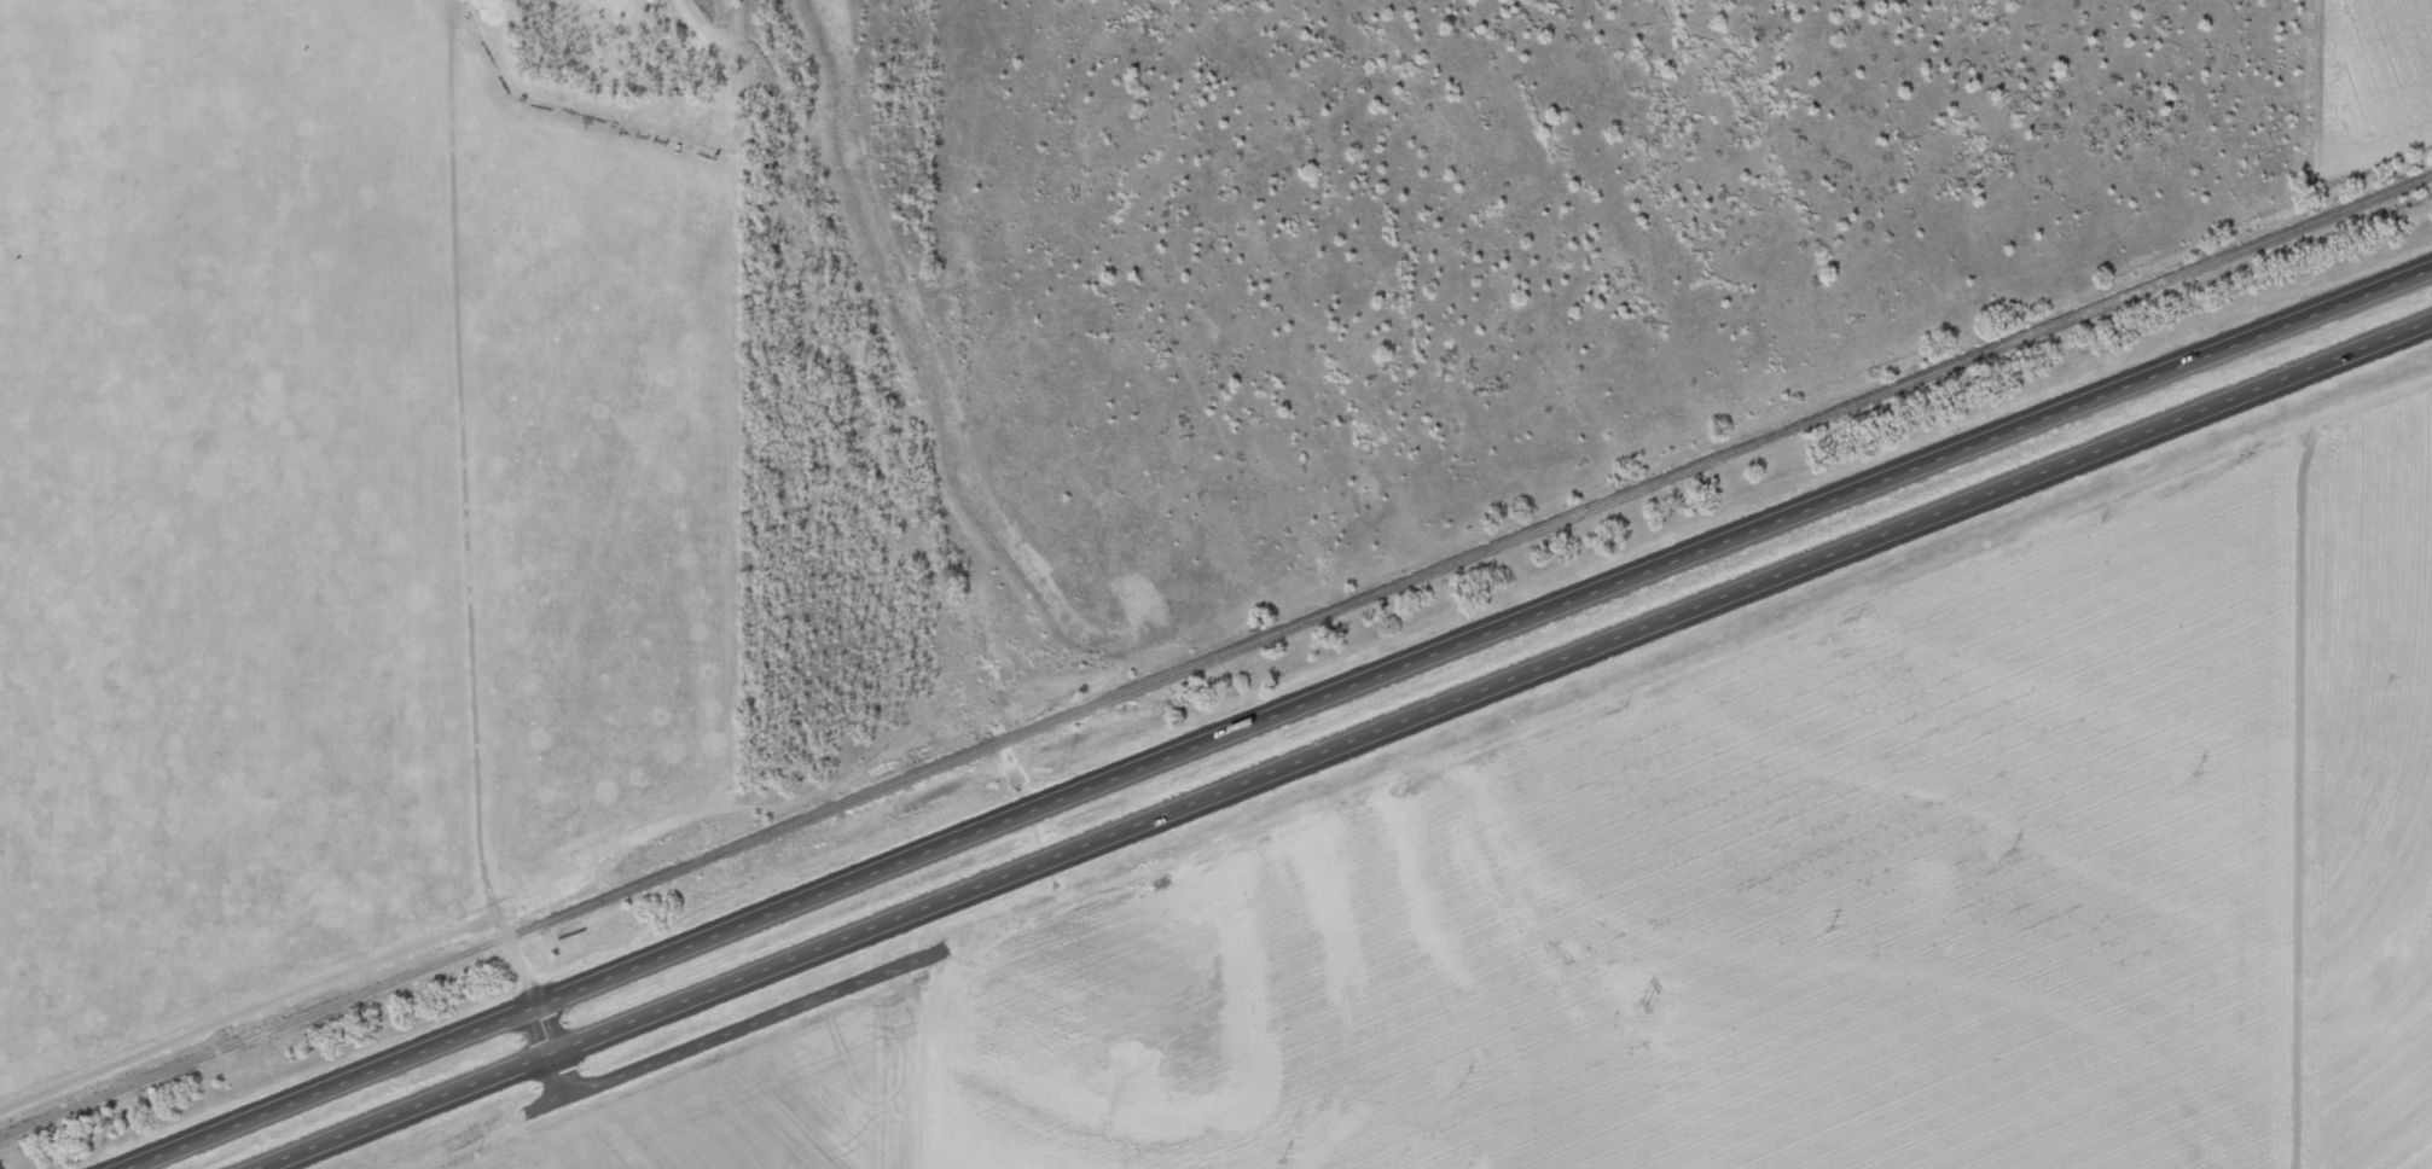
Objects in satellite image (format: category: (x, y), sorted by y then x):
railway: (1215, 656)
road: (1279, 719)
road: (1346, 744)
road: (1670, 760)
road: (906, 1148)

